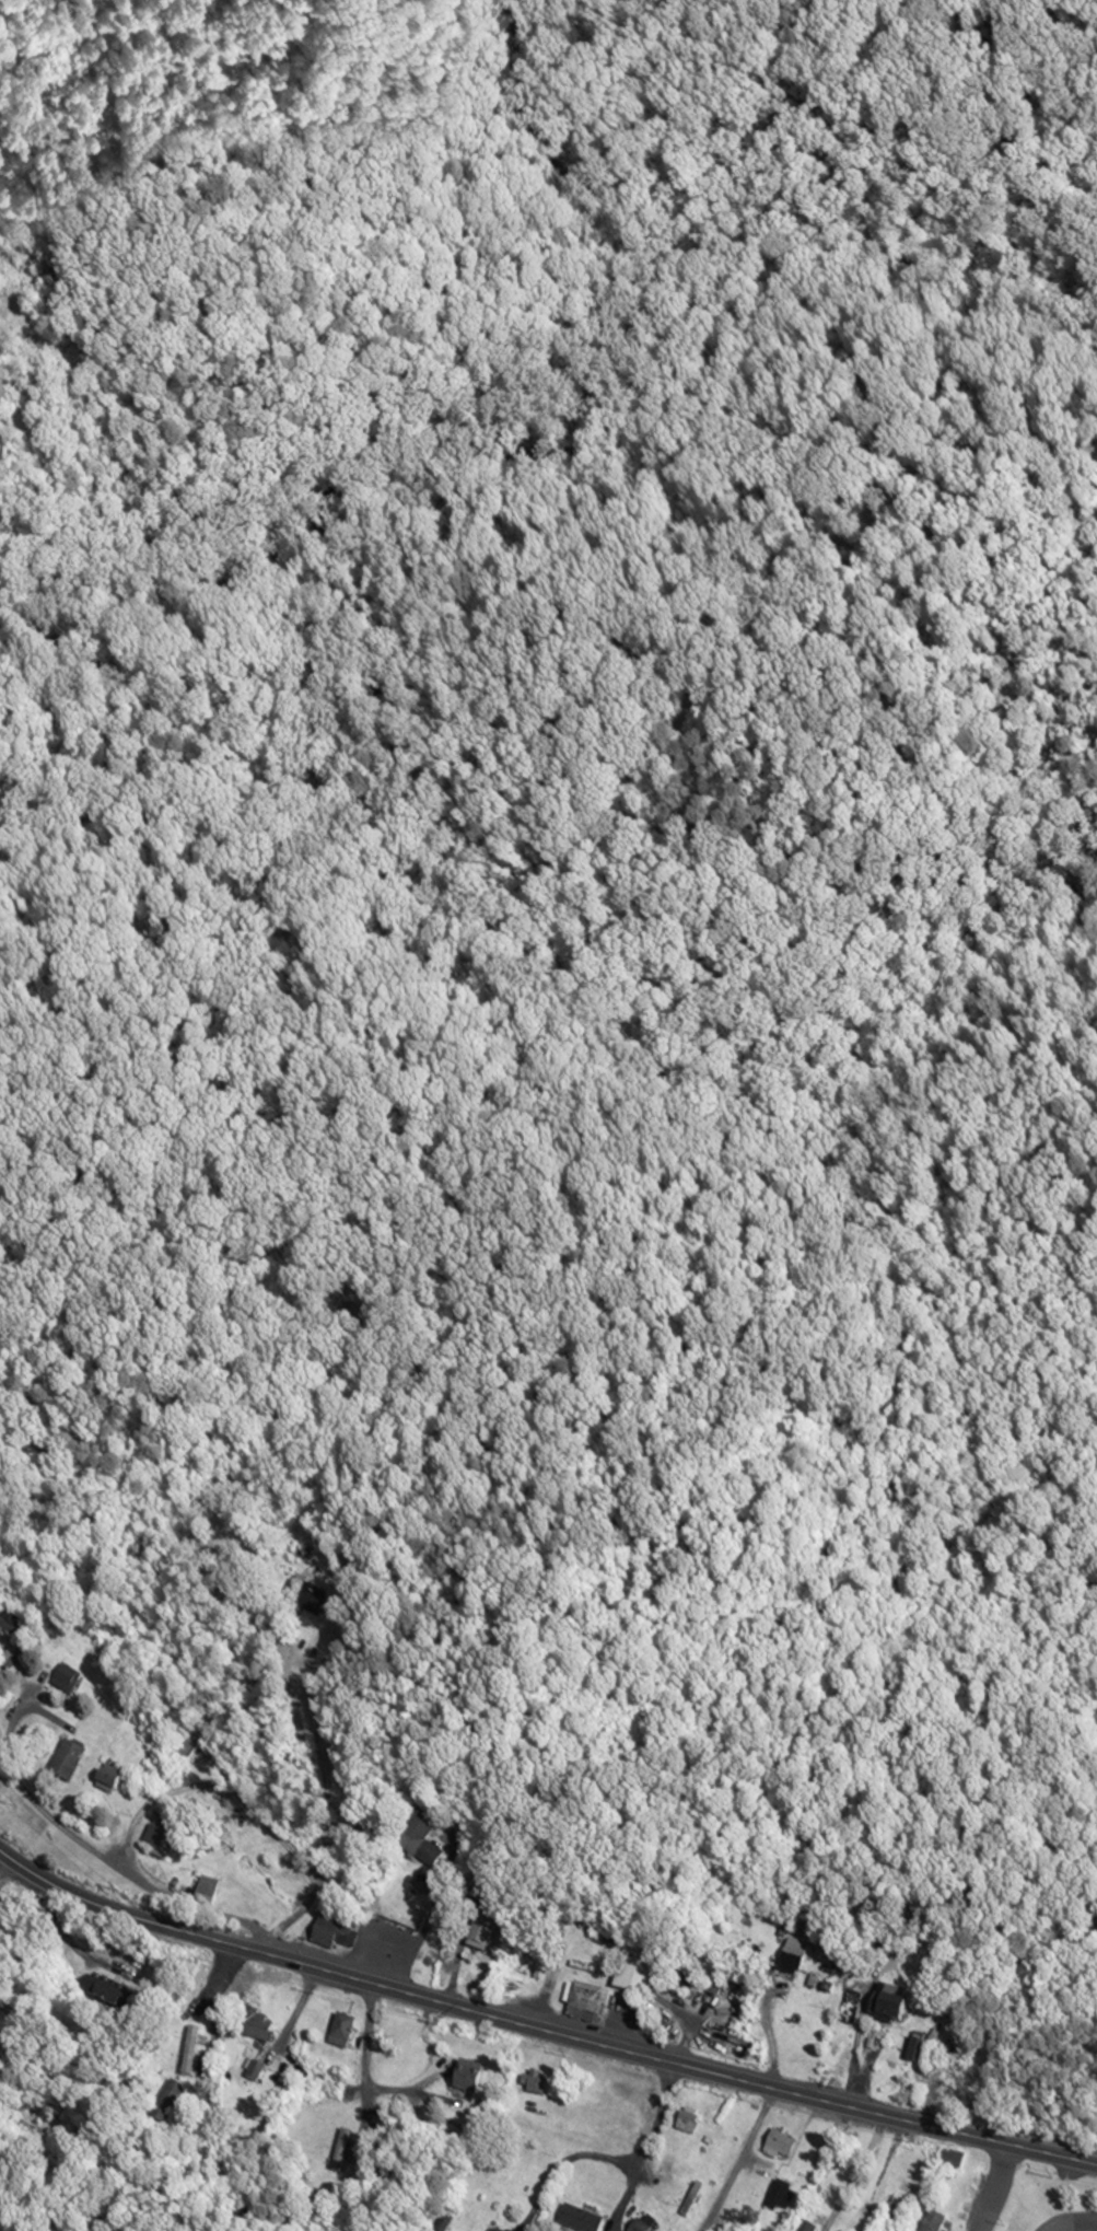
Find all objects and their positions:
road: (1010, 141)
road: (40, 1582)
building: (10, 1627)
building: (65, 1683)
building: (186, 1742)
building: (66, 1765)
road: (308, 1785)
building: (418, 1840)
building: (161, 1841)
road: (96, 1854)
road: (7, 1863)
building: (206, 1896)
building: (334, 1934)
building: (480, 1937)
building: (793, 1959)
building: (635, 1974)
building: (108, 1992)
road: (541, 1995)
building: (584, 2001)
building: (887, 2011)
building: (643, 2017)
building: (256, 2025)
building: (341, 2031)
road: (538, 2032)
road: (371, 2041)
road: (211, 2057)
road: (864, 2064)
building: (467, 2078)
building: (167, 2103)
building: (687, 2123)
building: (781, 2145)
building: (339, 2146)
road: (738, 2162)
building: (950, 2162)
road: (614, 2165)
road: (992, 2187)
building: (783, 2198)
building: (900, 2210)
building: (580, 2221)
building: (934, 2222)
road: (1073, 2223)
building: (638, 2228)
building: (807, 2228)

